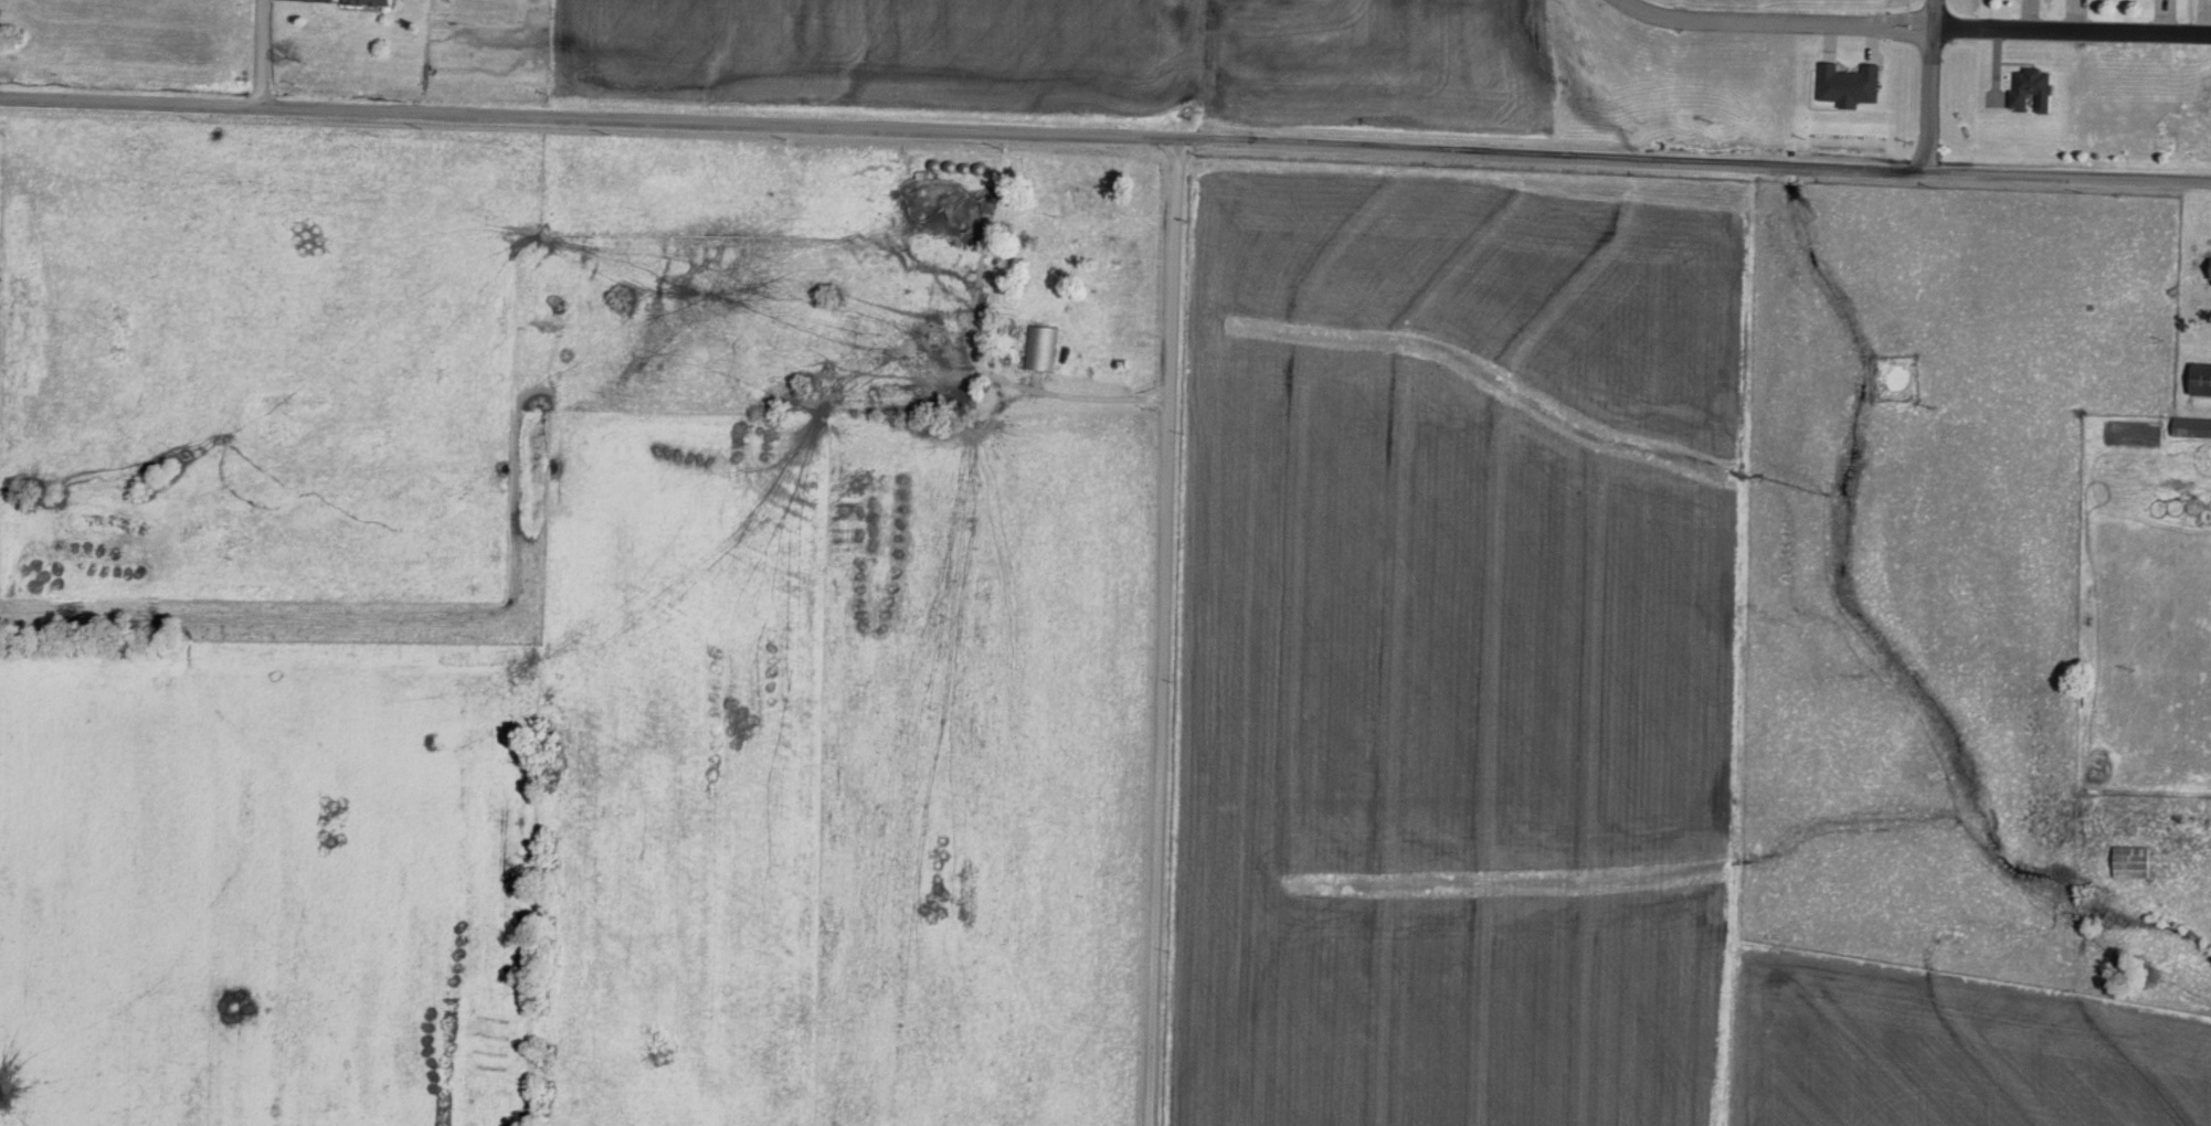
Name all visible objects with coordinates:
building: (371, 2)
road: (1763, 33)
road: (2071, 40)
road: (251, 60)
crop: (1077, 63)
building: (2031, 88)
road: (1926, 94)
road: (1104, 164)
building: (2210, 276)
building: (1041, 348)
building: (2199, 380)
building: (2191, 427)
building: (2210, 506)
crop: (1457, 644)
road: (1146, 647)
building: (2130, 862)
crop: (1946, 1052)

